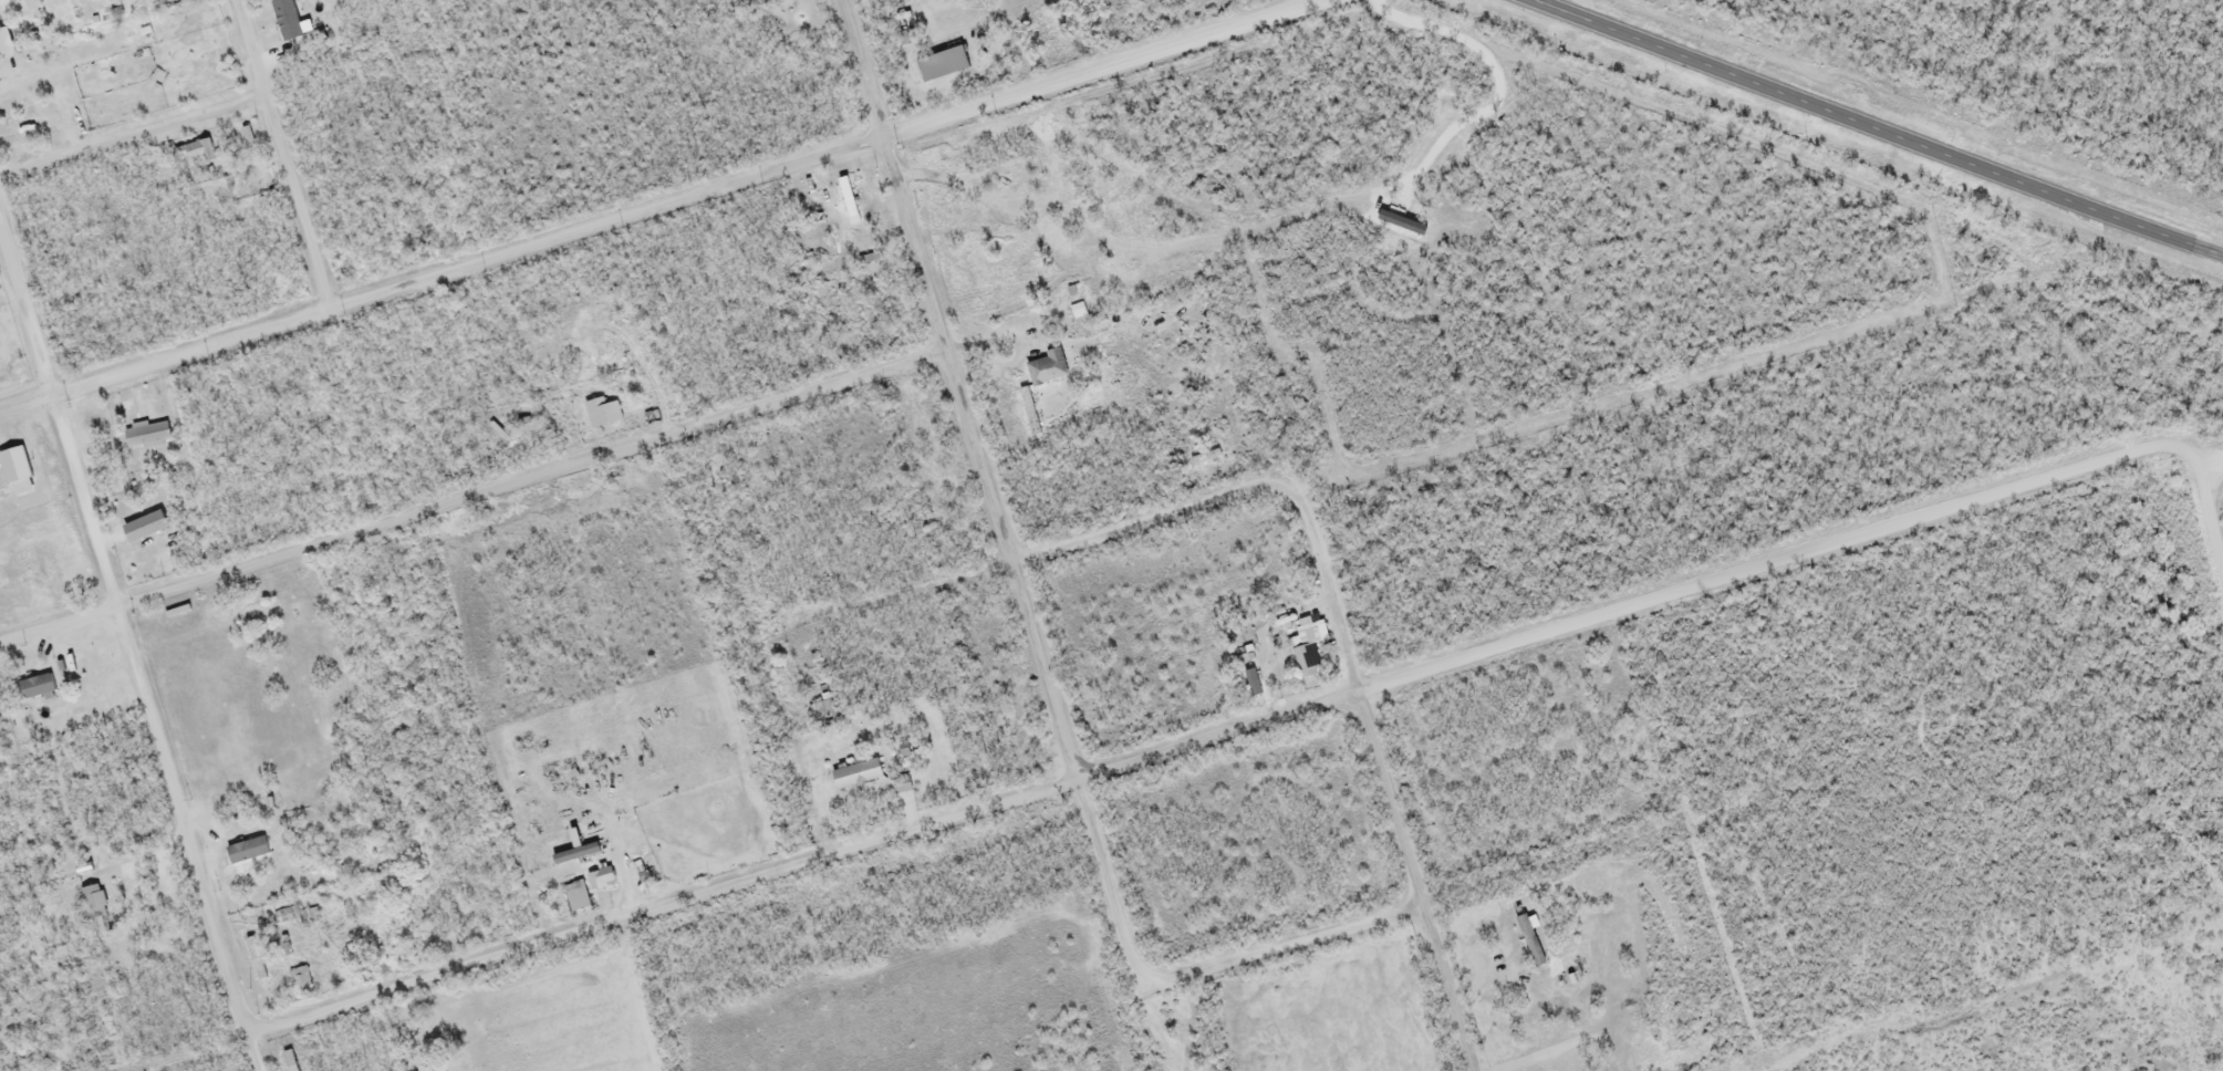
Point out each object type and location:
building: (3, 44)
building: (939, 66)
road: (1872, 131)
road: (132, 137)
building: (200, 153)
road: (283, 155)
road: (682, 200)
building: (1018, 278)
building: (1045, 371)
building: (600, 414)
building: (145, 438)
road: (2204, 453)
road: (518, 487)
road: (1144, 524)
road: (1001, 527)
building: (142, 529)
building: (251, 614)
road: (124, 628)
building: (1305, 653)
building: (33, 688)
building: (828, 709)
road: (1272, 720)
road: (1381, 769)
building: (854, 776)
building: (900, 787)
building: (245, 852)
building: (572, 856)
building: (599, 881)
building: (574, 897)
building: (92, 904)
road: (1284, 952)
building: (1533, 954)
building: (300, 982)
road: (252, 1050)
building: (287, 1062)

